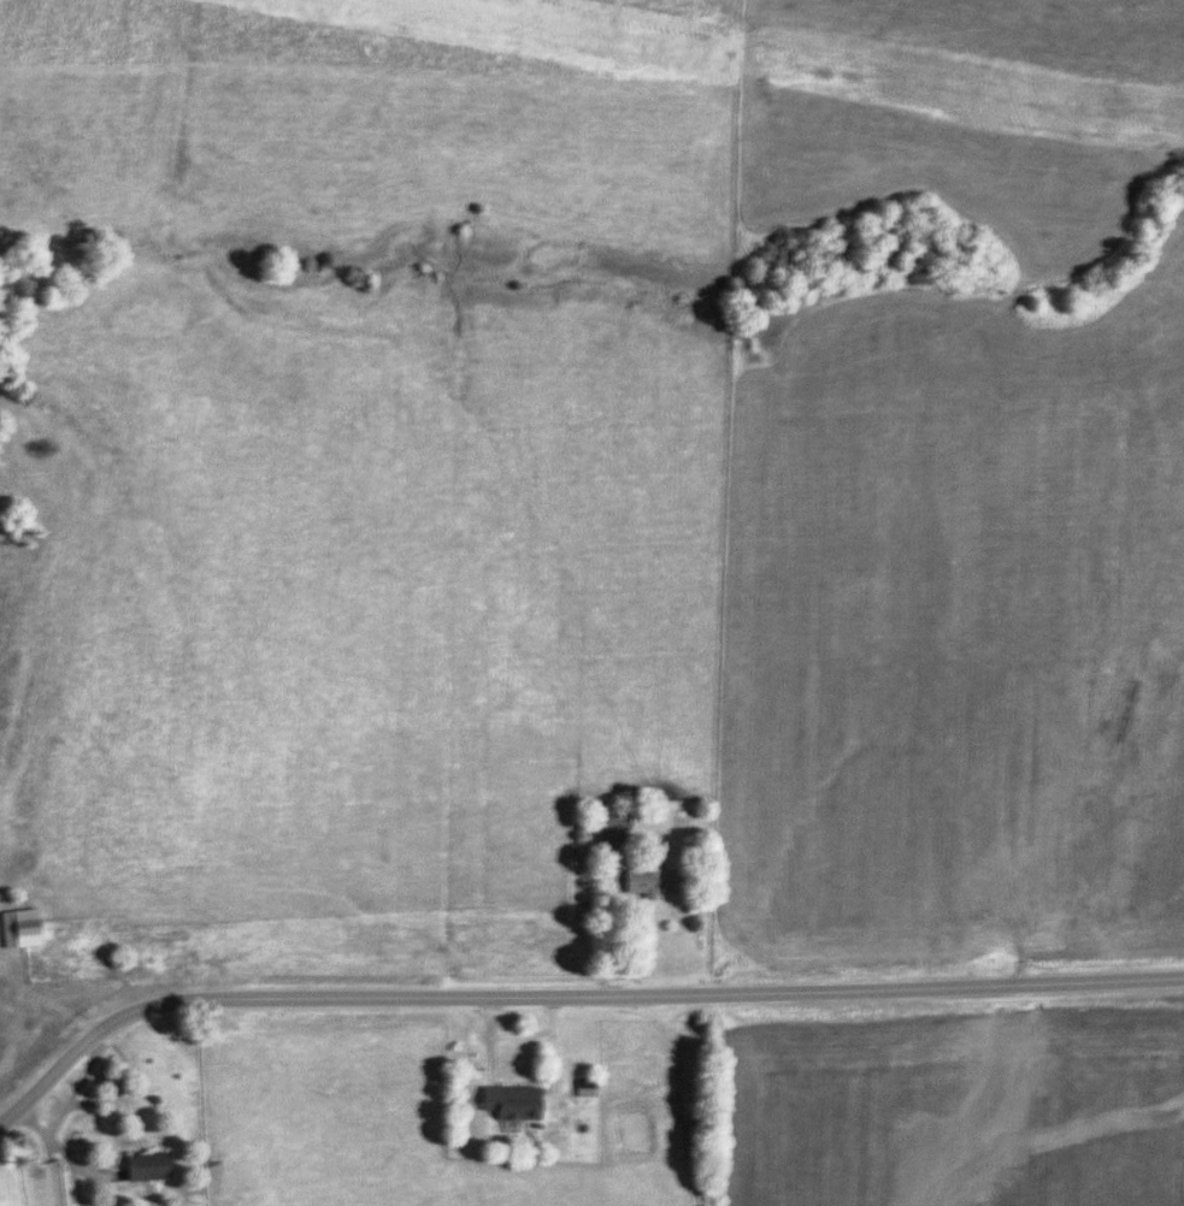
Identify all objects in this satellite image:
building: (613, 833)
building: (650, 879)
building: (17, 929)
road: (612, 934)
road: (569, 994)
road: (72, 1090)
building: (509, 1102)
road: (47, 1152)
building: (145, 1166)

